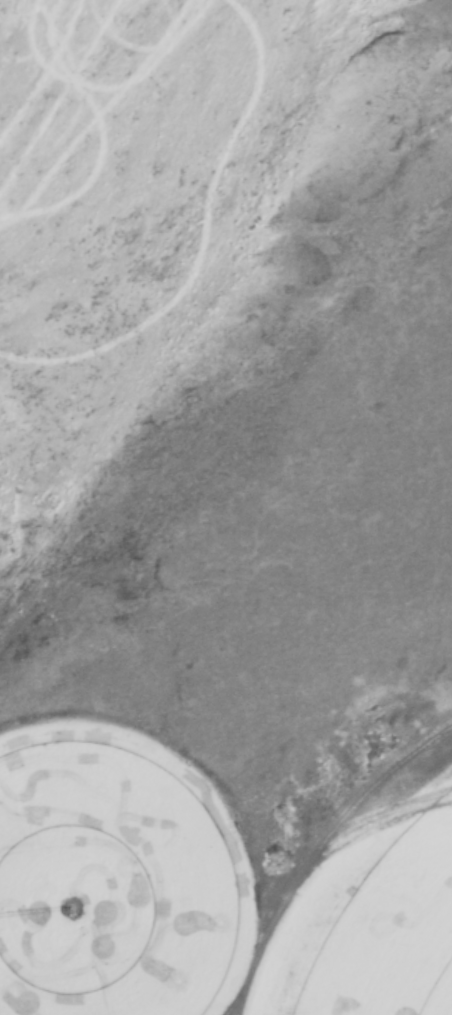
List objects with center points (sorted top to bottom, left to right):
crop: (393, 921)

